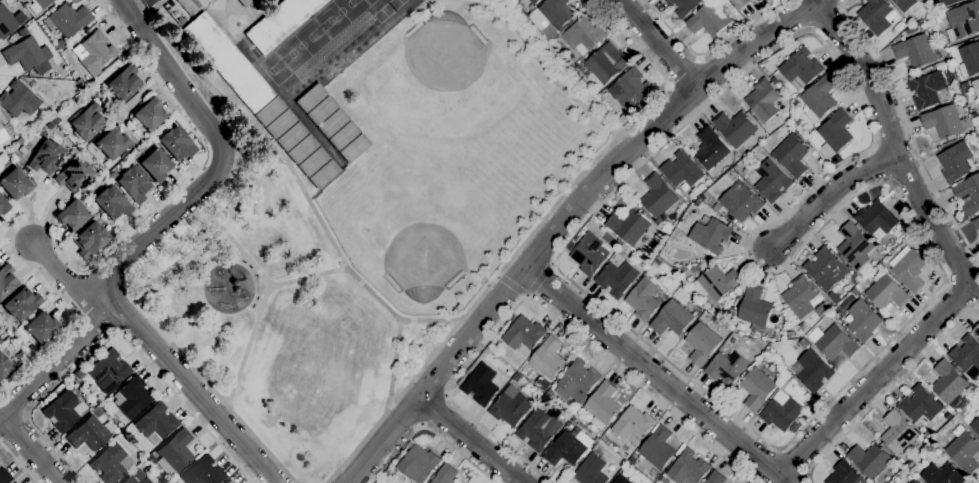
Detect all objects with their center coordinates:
building: (533, 1)
park: (371, 2)
building: (947, 2)
building: (244, 3)
building: (739, 3)
building: (903, 4)
building: (39, 5)
road: (135, 5)
building: (682, 6)
building: (555, 13)
park: (339, 15)
building: (876, 15)
building: (708, 19)
building: (910, 19)
building: (68, 20)
building: (963, 20)
building: (6, 22)
building: (280, 23)
building: (912, 29)
building: (23, 32)
building: (583, 34)
building: (978, 36)
road: (656, 42)
road: (752, 43)
park: (302, 45)
building: (879, 45)
building: (916, 50)
road: (706, 52)
building: (93, 53)
building: (28, 56)
park: (443, 56)
building: (969, 60)
building: (606, 62)
building: (228, 63)
building: (800, 66)
park: (274, 69)
building: (105, 73)
building: (773, 79)
building: (124, 84)
building: (976, 87)
building: (629, 88)
building: (928, 90)
building: (310, 98)
building: (818, 98)
building: (762, 99)
building: (18, 100)
building: (794, 102)
building: (321, 111)
building: (269, 112)
building: (149, 115)
building: (5, 116)
building: (623, 118)
building: (797, 121)
building: (945, 121)
building: (87, 122)
building: (332, 123)
building: (280, 124)
building: (734, 127)
building: (1, 128)
building: (834, 132)
road: (909, 132)
building: (2, 135)
building: (343, 136)
building: (291, 137)
building: (112, 144)
building: (177, 144)
building: (710, 148)
building: (354, 149)
building: (302, 150)
building: (760, 150)
building: (740, 152)
building: (791, 155)
building: (45, 158)
road: (595, 158)
road: (221, 159)
building: (955, 161)
building: (313, 162)
building: (155, 165)
building: (681, 169)
building: (738, 171)
building: (324, 174)
building: (73, 175)
road: (294, 176)
building: (769, 180)
building: (15, 184)
building: (134, 184)
building: (684, 187)
building: (968, 194)
building: (657, 195)
road: (825, 197)
building: (740, 201)
building: (697, 202)
building: (112, 203)
building: (3, 206)
building: (716, 207)
building: (72, 215)
building: (876, 219)
building: (975, 223)
building: (660, 224)
building: (627, 226)
building: (601, 228)
building: (896, 232)
building: (913, 234)
building: (710, 235)
road: (807, 238)
building: (90, 240)
road: (204, 240)
building: (854, 247)
building: (587, 254)
park: (421, 255)
road: (246, 257)
road: (951, 257)
road: (95, 261)
building: (657, 262)
road: (551, 263)
building: (825, 268)
building: (908, 268)
road: (496, 275)
road: (536, 277)
building: (616, 277)
road: (513, 278)
building: (855, 278)
building: (7, 281)
road: (67, 281)
building: (715, 283)
road: (511, 285)
building: (863, 285)
building: (886, 292)
building: (854, 293)
road: (525, 295)
building: (834, 295)
building: (802, 298)
building: (642, 299)
building: (22, 305)
road: (541, 305)
building: (754, 308)
building: (732, 309)
road: (259, 310)
park: (280, 316)
building: (673, 318)
building: (862, 320)
building: (802, 326)
building: (41, 328)
road: (94, 330)
building: (976, 330)
building: (523, 333)
building: (790, 334)
road: (141, 335)
road: (114, 336)
building: (731, 340)
building: (833, 341)
building: (701, 343)
building: (21, 356)
building: (966, 356)
building: (547, 358)
building: (500, 363)
road: (391, 365)
building: (3, 367)
building: (725, 368)
building: (811, 370)
building: (109, 372)
building: (79, 374)
road: (654, 374)
building: (70, 381)
building: (576, 381)
building: (947, 382)
building: (541, 383)
building: (482, 384)
building: (756, 388)
road: (887, 390)
road: (213, 391)
building: (549, 393)
building: (977, 395)
building: (781, 396)
building: (132, 397)
building: (544, 399)
road: (392, 401)
building: (919, 404)
building: (602, 405)
building: (510, 406)
building: (64, 412)
building: (781, 413)
building: (945, 416)
building: (954, 420)
building: (156, 424)
building: (632, 425)
building: (975, 425)
building: (538, 428)
road: (429, 429)
building: (897, 432)
building: (89, 435)
building: (603, 438)
road: (468, 440)
building: (569, 446)
building: (603, 446)
building: (657, 448)
building: (963, 450)
road: (28, 452)
building: (144, 452)
building: (174, 454)
building: (150, 459)
building: (870, 459)
building: (913, 461)
road: (19, 463)
building: (112, 464)
building: (418, 464)
building: (687, 467)
building: (590, 470)
building: (903, 471)
building: (203, 473)
building: (941, 473)
building: (444, 474)
building: (844, 474)
building: (4, 476)
building: (136, 478)
building: (714, 478)
building: (229, 481)
building: (915, 481)
building: (175, 482)
building: (613, 482)
building: (628, 482)

